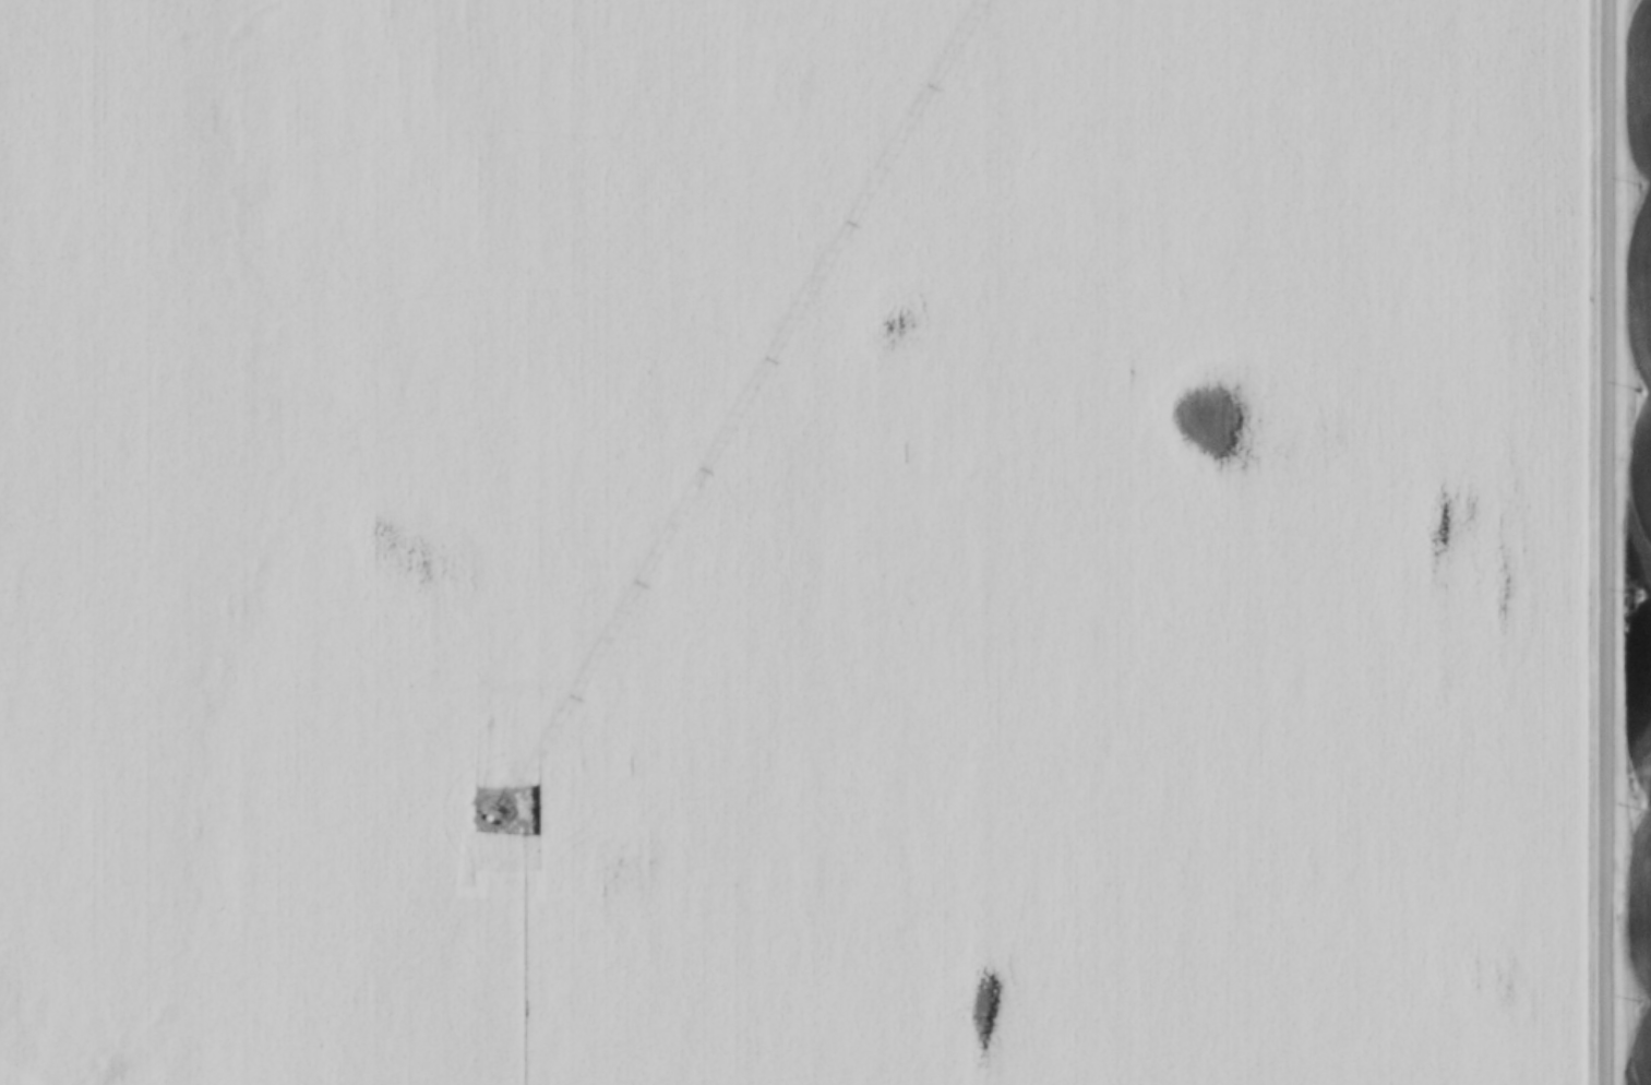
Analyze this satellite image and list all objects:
road: (1606, 541)

